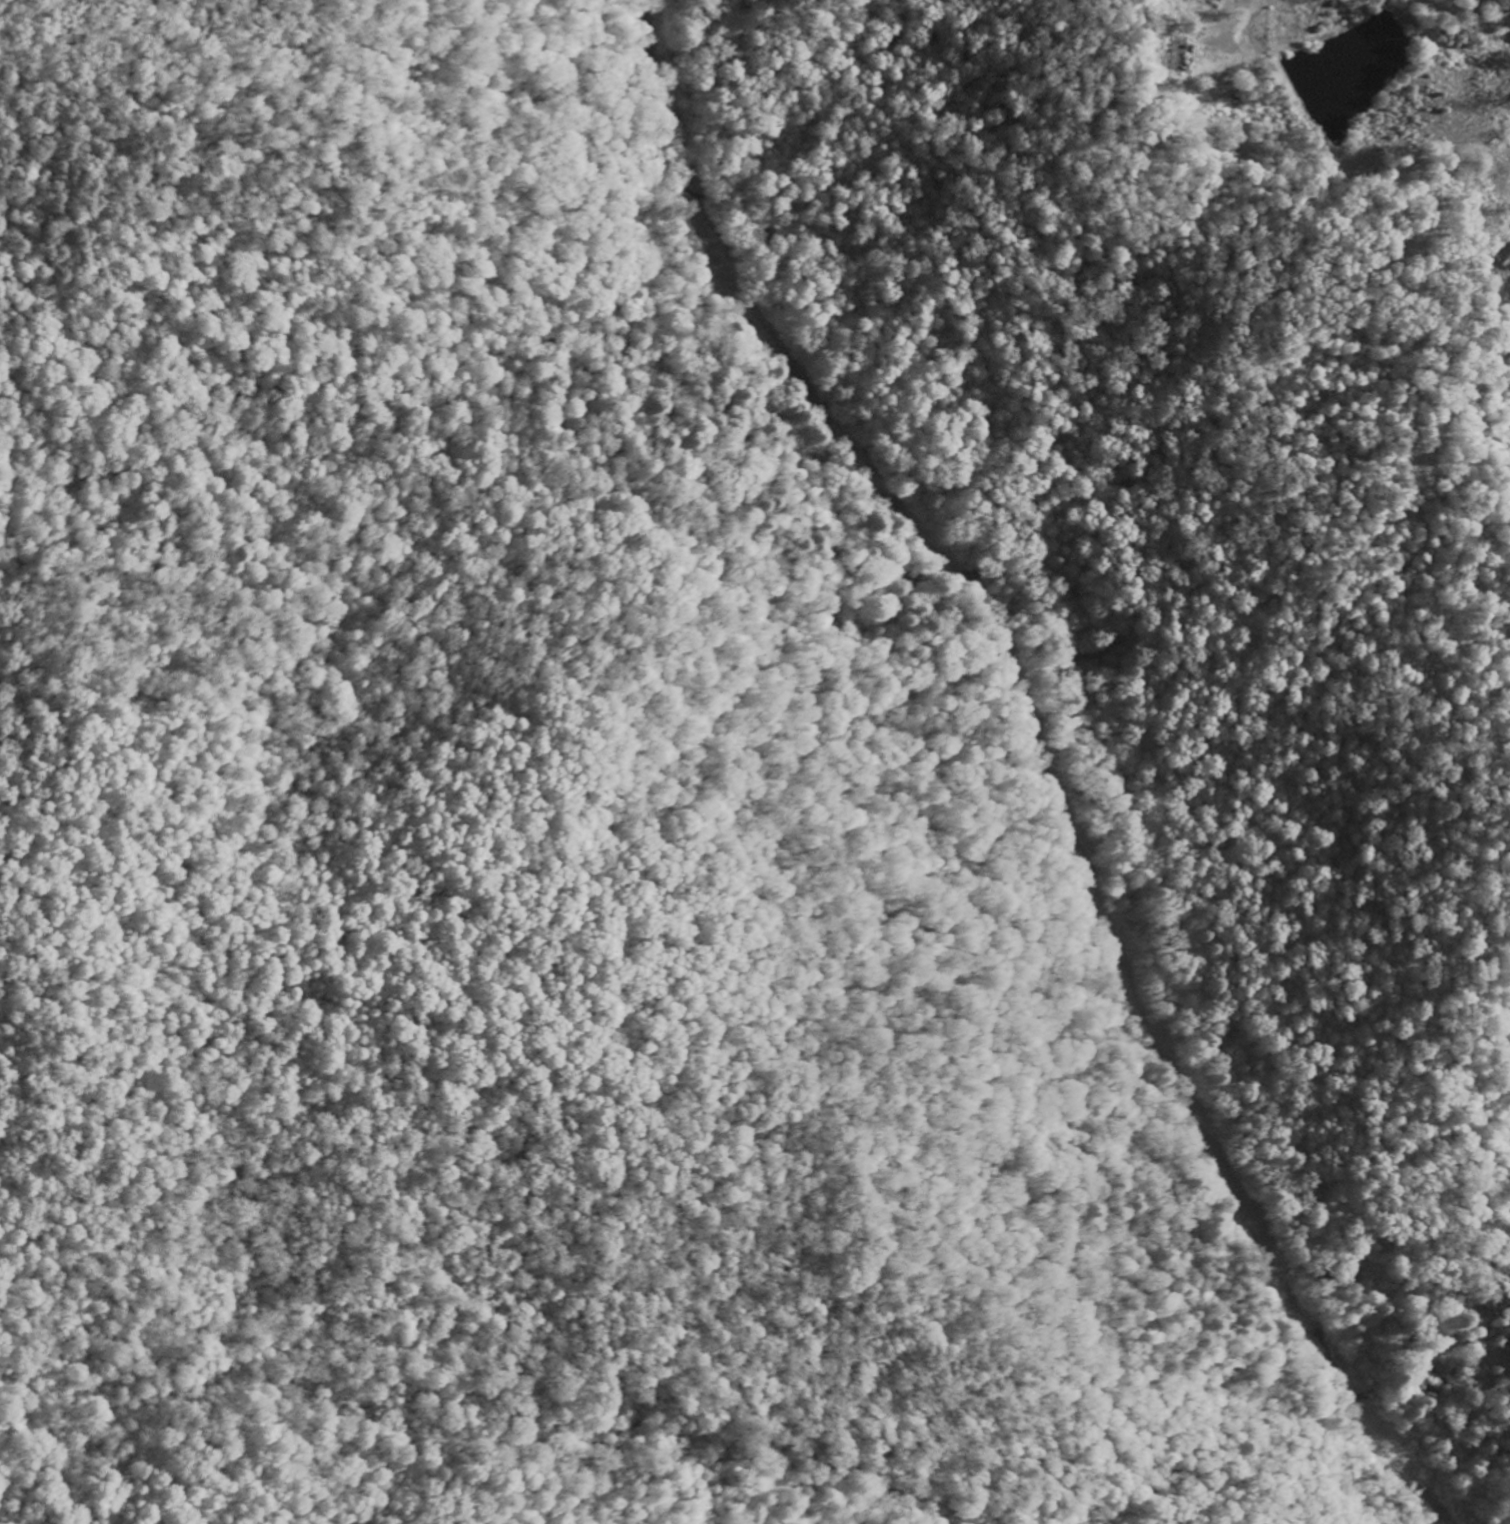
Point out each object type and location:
road: (1251, 16)

